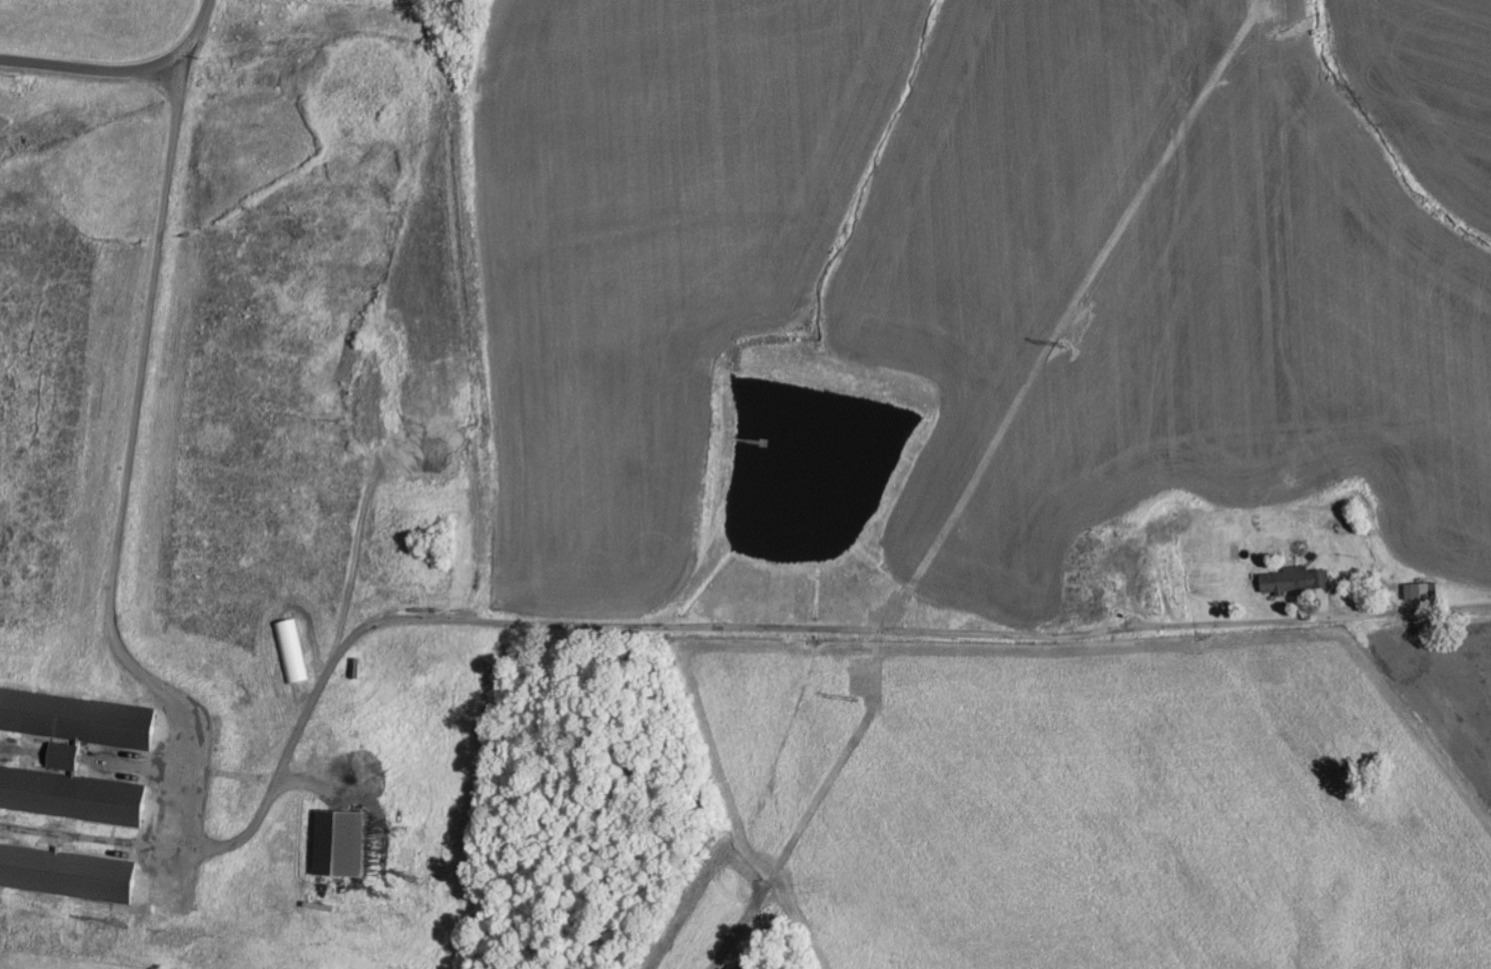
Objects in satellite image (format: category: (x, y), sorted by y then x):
road: (122, 70)
building: (1299, 582)
building: (1424, 593)
building: (294, 651)
building: (75, 754)
building: (343, 844)

